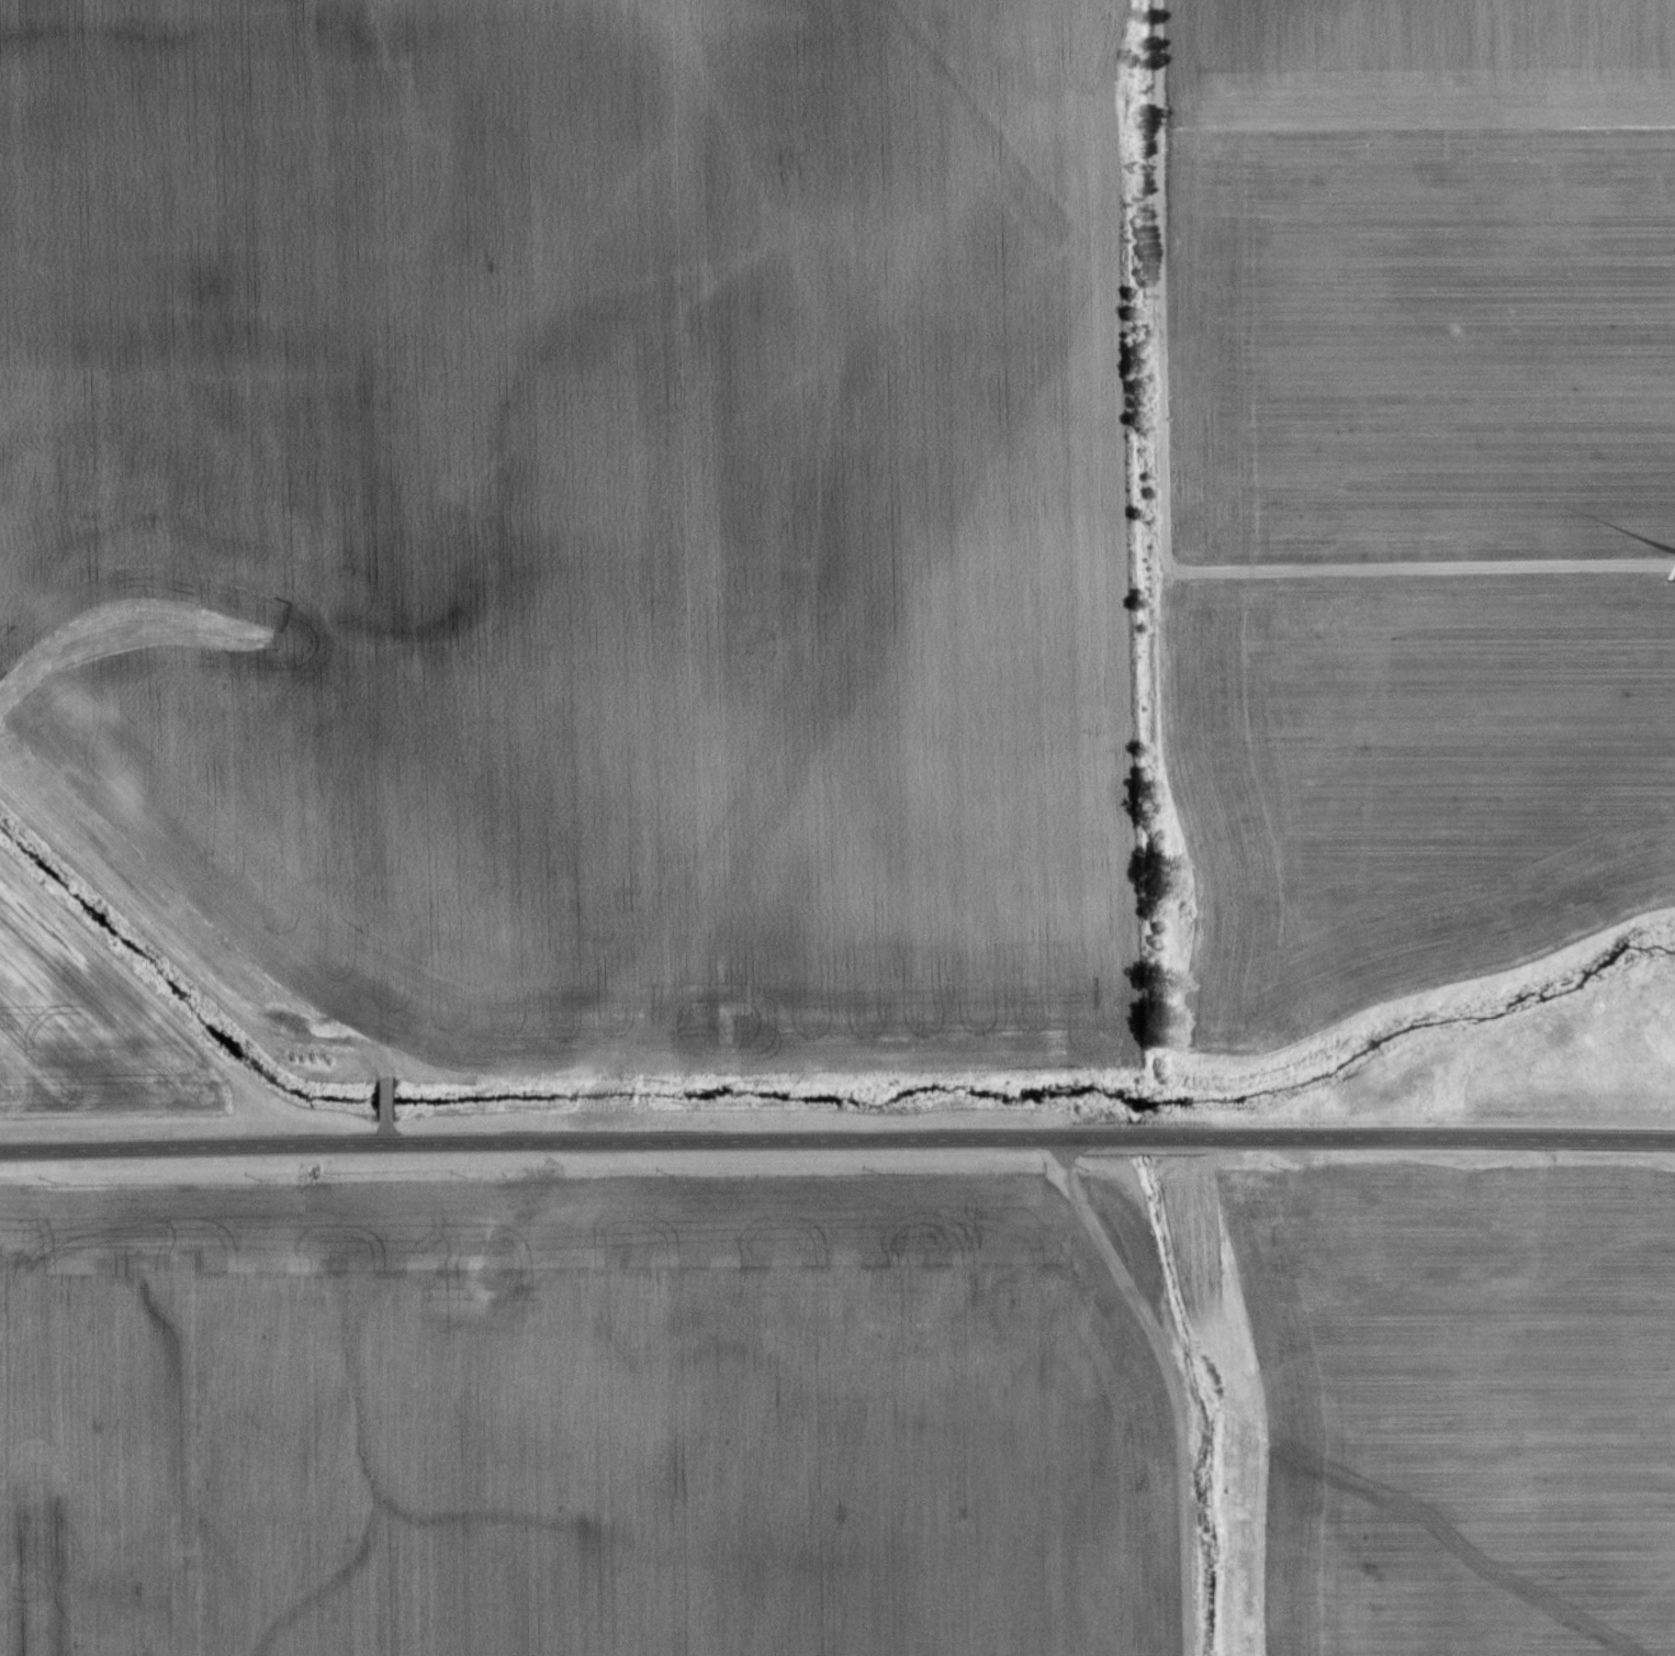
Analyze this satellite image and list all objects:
road: (1166, 536)
road: (836, 1139)
road: (1173, 1384)

